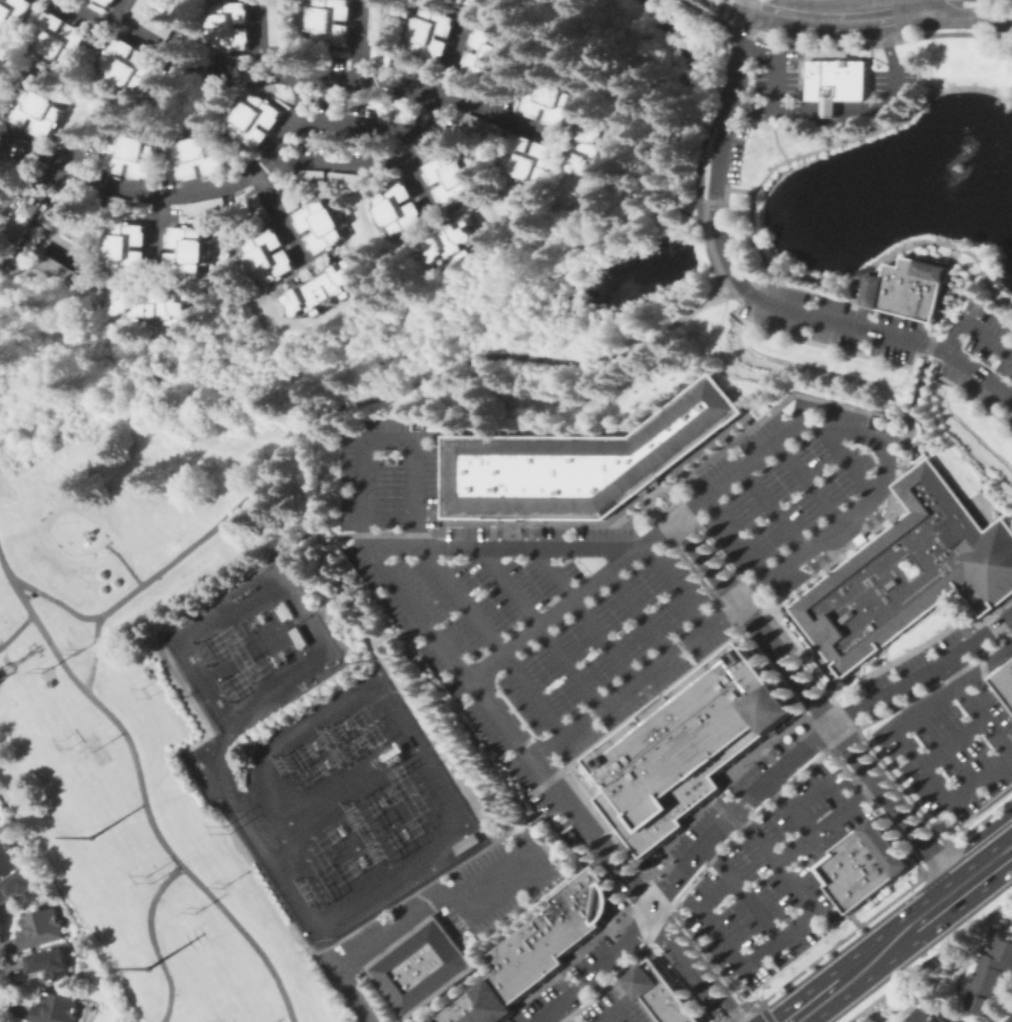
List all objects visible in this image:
building: (101, 0)
road: (744, 1)
road: (921, 1)
road: (922, 1)
road: (924, 1)
building: (113, 2)
building: (491, 5)
road: (729, 5)
building: (149, 7)
road: (724, 9)
road: (127, 10)
building: (16, 14)
road: (833, 15)
road: (965, 16)
building: (382, 21)
building: (334, 22)
building: (282, 23)
building: (235, 26)
building: (165, 27)
building: (434, 33)
road: (267, 39)
building: (63, 40)
road: (363, 42)
building: (493, 55)
building: (385, 56)
road: (777, 63)
building: (134, 66)
road: (300, 71)
road: (893, 71)
building: (419, 73)
building: (6, 80)
building: (835, 81)
building: (335, 93)
building: (553, 101)
road: (752, 106)
road: (788, 109)
building: (44, 110)
road: (811, 110)
road: (829, 110)
road: (848, 110)
building: (408, 117)
building: (257, 120)
road: (831, 120)
road: (363, 122)
building: (487, 127)
road: (881, 127)
building: (595, 149)
building: (136, 155)
building: (201, 156)
building: (532, 160)
road: (413, 164)
building: (314, 177)
building: (454, 178)
building: (349, 180)
road: (424, 186)
road: (733, 188)
road: (178, 192)
building: (240, 192)
building: (289, 195)
road: (711, 200)
building: (123, 204)
building: (208, 207)
building: (399, 209)
building: (261, 210)
road: (281, 212)
road: (685, 212)
building: (32, 213)
road: (540, 216)
building: (324, 225)
road: (161, 229)
building: (79, 231)
building: (454, 242)
building: (128, 248)
building: (24, 251)
building: (191, 251)
building: (270, 257)
road: (864, 268)
road: (743, 287)
building: (889, 287)
building: (324, 290)
building: (924, 291)
road: (728, 295)
building: (156, 305)
road: (935, 315)
road: (973, 326)
parking lot: (902, 338)
road: (467, 362)
road: (873, 439)
road: (904, 446)
road: (145, 454)
road: (846, 459)
building: (577, 463)
road: (809, 481)
road: (318, 496)
road: (775, 508)
park: (75, 522)
road: (739, 537)
road: (501, 549)
road: (372, 553)
road: (125, 562)
building: (984, 567)
building: (888, 573)
parking lot: (599, 576)
road: (676, 585)
building: (29, 596)
building: (286, 611)
road: (642, 611)
road: (587, 613)
road: (541, 627)
road: (17, 631)
building: (301, 638)
road: (496, 640)
power tower: (78, 649)
road: (94, 653)
building: (1010, 653)
road: (1002, 662)
road: (985, 664)
power tower: (44, 667)
road: (298, 674)
building: (1004, 682)
power tower: (143, 690)
building: (770, 697)
road: (818, 705)
building: (755, 708)
building: (674, 714)
building: (743, 717)
road: (399, 726)
parking lot: (945, 727)
building: (723, 733)
power tower: (63, 741)
road: (955, 743)
power tower: (94, 745)
building: (703, 748)
power substation: (313, 757)
building: (694, 764)
building: (680, 775)
building: (666, 786)
road: (141, 789)
road: (821, 789)
road: (962, 794)
road: (755, 795)
road: (328, 797)
building: (651, 802)
road: (790, 807)
road: (532, 816)
building: (629, 819)
park: (125, 822)
road: (827, 822)
building: (467, 842)
building: (884, 846)
building: (852, 848)
building: (7, 858)
parking lot: (766, 866)
building: (830, 867)
road: (986, 869)
building: (860, 880)
power tower: (222, 883)
building: (19, 888)
road: (635, 888)
road: (744, 890)
building: (592, 893)
road: (955, 893)
road: (888, 903)
building: (577, 908)
power tower: (197, 909)
building: (566, 917)
road: (409, 918)
building: (41, 928)
building: (555, 929)
road: (785, 934)
road: (896, 938)
road: (154, 940)
building: (543, 942)
road: (294, 952)
road: (327, 954)
building: (529, 954)
road: (929, 957)
building: (50, 964)
building: (515, 964)
building: (420, 966)
power tower: (145, 968)
building: (506, 972)
building: (645, 977)
building: (991, 979)
parking lot: (562, 983)
building: (502, 987)
building: (660, 991)
road: (814, 1001)
building: (487, 1002)
building: (57, 1009)
parking lot: (616, 1009)
building: (676, 1009)
building: (465, 1011)
road: (742, 1011)
road: (764, 1011)
road: (613, 1015)
building: (448, 1016)
road: (560, 1016)
building: (928, 1016)
road: (3, 1020)
building: (1011, 1021)

